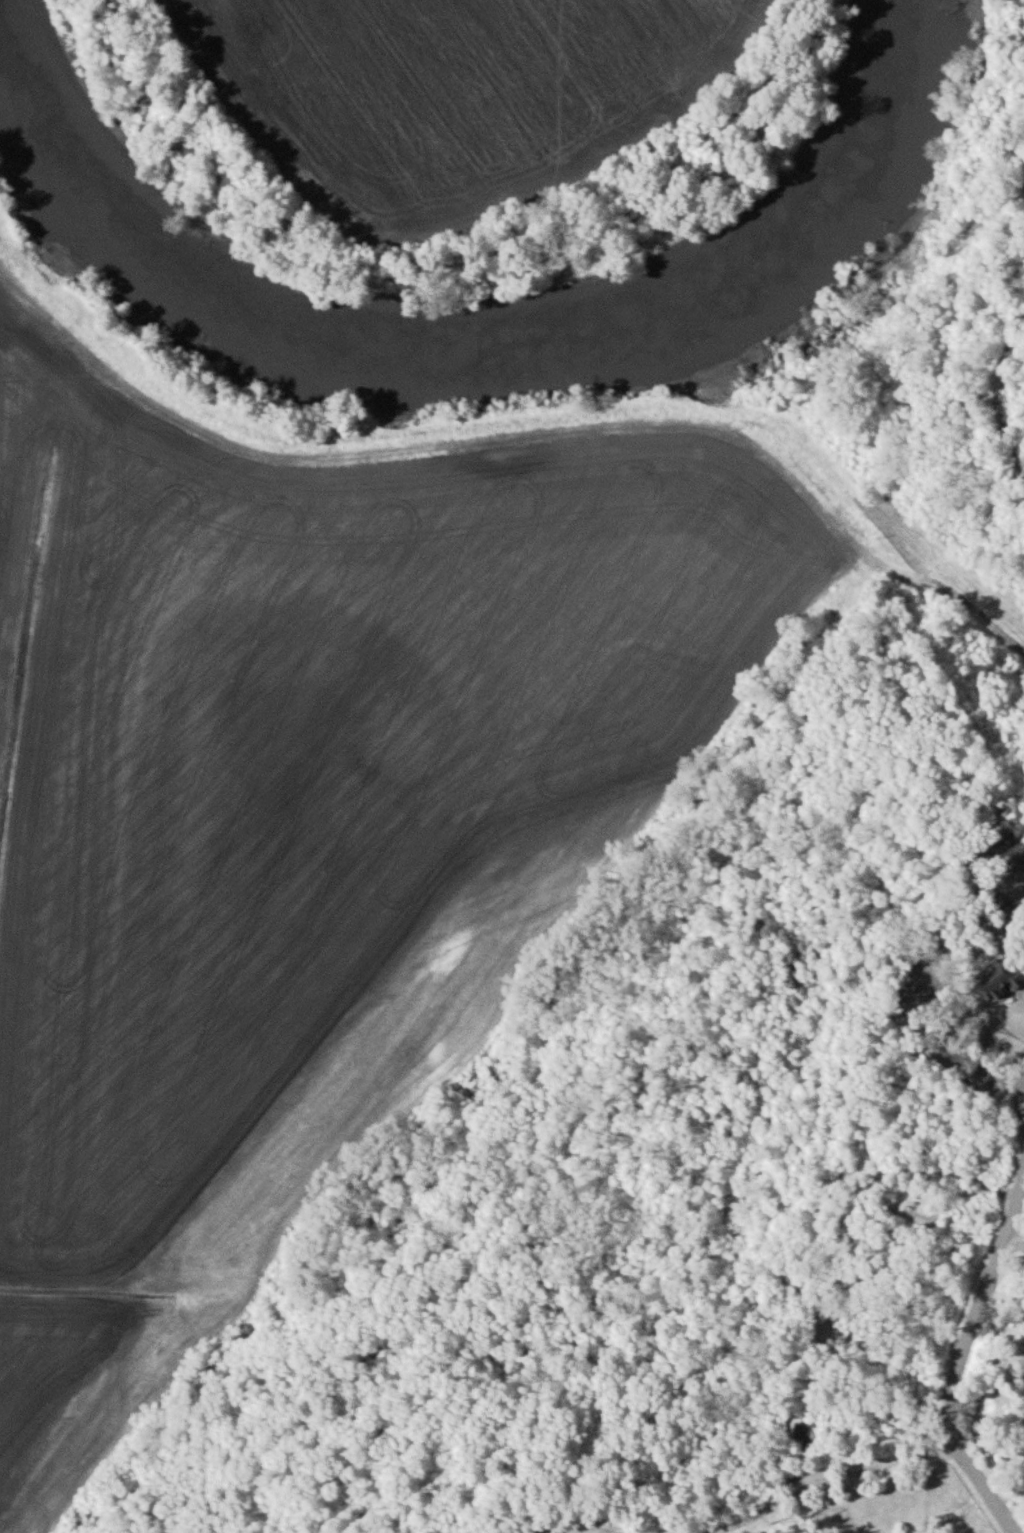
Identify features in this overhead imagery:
river: (455, 360)
road: (1016, 1239)
road: (968, 1360)
road: (825, 1482)
road: (1013, 1507)

